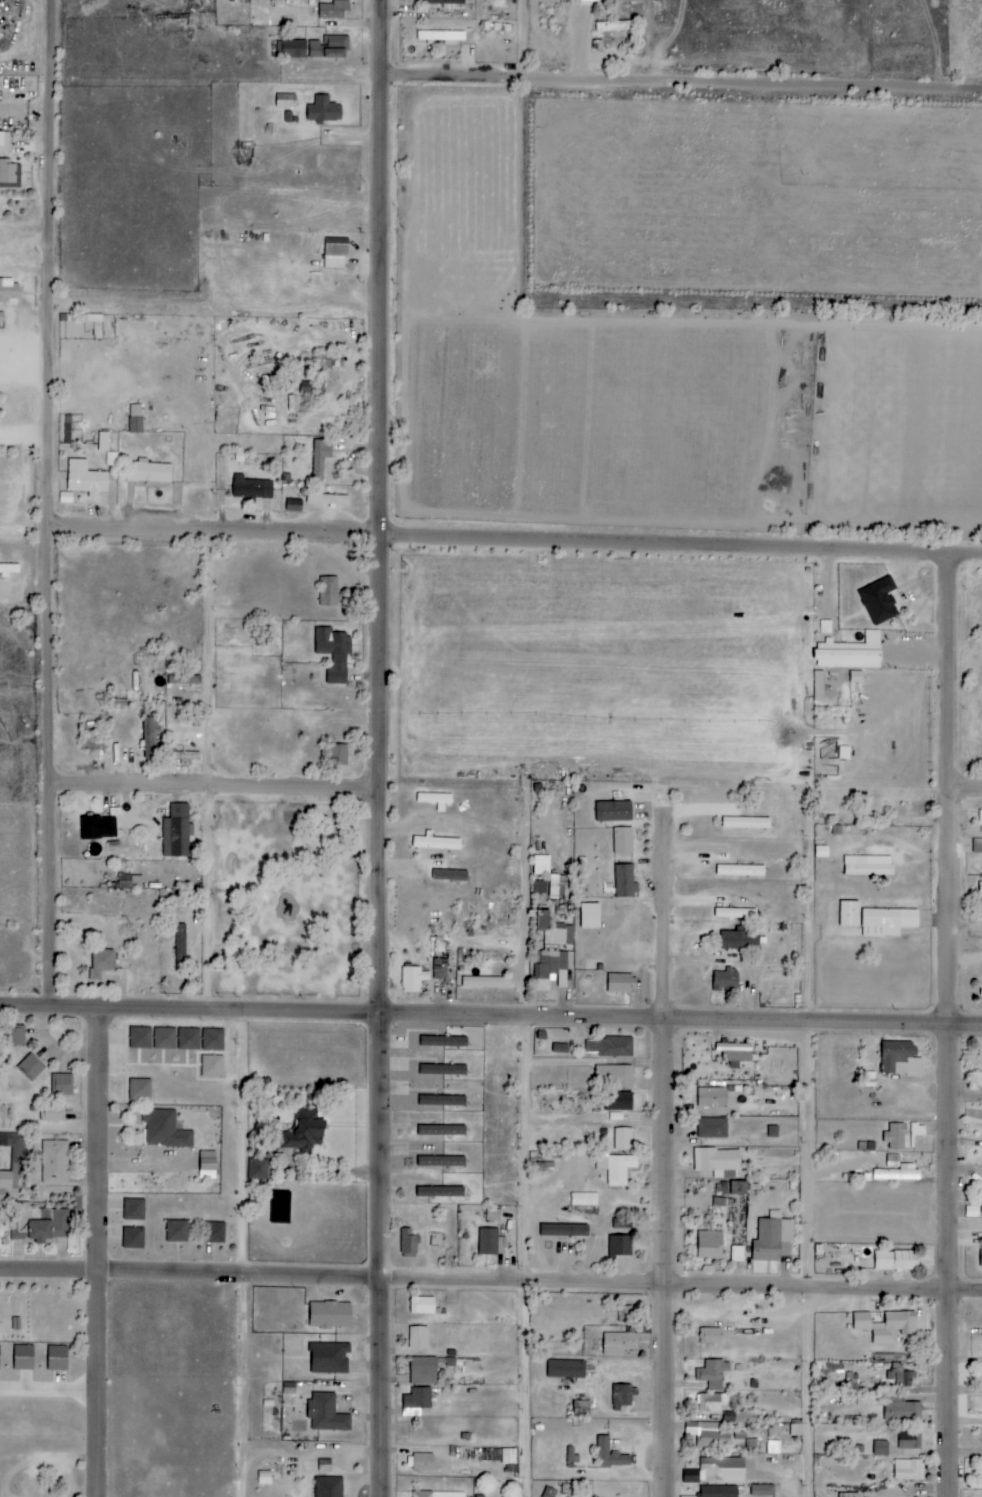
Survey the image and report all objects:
building: (588, 0)
building: (443, 2)
building: (333, 9)
building: (441, 36)
road: (530, 42)
building: (328, 47)
building: (293, 49)
road: (685, 86)
building: (285, 101)
building: (324, 110)
building: (9, 174)
building: (336, 253)
building: (9, 290)
building: (321, 373)
building: (135, 418)
building: (103, 442)
building: (320, 458)
building: (148, 472)
building: (85, 479)
building: (251, 488)
building: (66, 498)
building: (327, 499)
road: (55, 504)
road: (519, 542)
building: (8, 570)
building: (329, 592)
building: (879, 601)
building: (334, 653)
building: (850, 653)
building: (856, 677)
building: (184, 680)
building: (818, 686)
building: (150, 736)
road: (385, 748)
building: (340, 755)
building: (185, 756)
road: (216, 772)
road: (221, 789)
road: (967, 794)
building: (435, 799)
building: (613, 811)
building: (981, 820)
building: (746, 822)
building: (98, 827)
building: (177, 831)
building: (622, 841)
building: (435, 842)
building: (977, 845)
road: (524, 858)
building: (541, 865)
building: (868, 865)
building: (740, 870)
building: (450, 874)
building: (130, 882)
building: (623, 882)
building: (539, 887)
building: (980, 889)
building: (735, 913)
building: (590, 915)
building: (874, 920)
building: (740, 940)
building: (180, 947)
building: (552, 951)
building: (102, 962)
building: (440, 969)
building: (413, 978)
building: (726, 980)
building: (486, 982)
building: (619, 984)
road: (490, 1018)
road: (954, 1027)
building: (15, 1036)
building: (140, 1038)
building: (164, 1038)
building: (188, 1039)
building: (212, 1039)
building: (443, 1041)
building: (610, 1047)
building: (560, 1048)
building: (735, 1052)
building: (900, 1059)
building: (212, 1066)
building: (30, 1068)
building: (443, 1069)
building: (614, 1076)
building: (61, 1084)
building: (140, 1090)
building: (712, 1097)
building: (442, 1100)
building: (619, 1101)
building: (2, 1110)
building: (51, 1112)
building: (712, 1128)
building: (165, 1129)
building: (918, 1129)
building: (441, 1130)
building: (303, 1131)
building: (773, 1131)
building: (896, 1136)
building: (623, 1139)
road: (670, 1152)
building: (440, 1161)
building: (54, 1162)
building: (718, 1162)
building: (13, 1163)
building: (207, 1164)
building: (616, 1167)
building: (258, 1169)
building: (897, 1169)
building: (440, 1191)
building: (584, 1199)
building: (280, 1207)
building: (134, 1209)
building: (38, 1223)
building: (564, 1230)
building: (176, 1231)
building: (214, 1232)
building: (133, 1238)
building: (436, 1239)
building: (409, 1241)
building: (491, 1242)
building: (620, 1245)
building: (710, 1245)
road: (98, 1253)
building: (737, 1254)
road: (251, 1255)
road: (524, 1258)
building: (981, 1259)
building: (895, 1260)
road: (817, 1261)
road: (490, 1284)
building: (422, 1305)
building: (330, 1315)
building: (862, 1321)
building: (894, 1327)
building: (623, 1334)
building: (710, 1336)
building: (417, 1337)
building: (23, 1358)
building: (57, 1358)
building: (329, 1358)
building: (565, 1369)
building: (422, 1370)
building: (713, 1373)
building: (288, 1388)
building: (622, 1397)
building: (417, 1399)
building: (711, 1402)
building: (580, 1409)
building: (327, 1414)
building: (738, 1417)
building: (796, 1430)
building: (712, 1436)
building: (910, 1441)
building: (773, 1447)
building: (881, 1448)
building: (610, 1455)
building: (572, 1456)
building: (509, 1460)
building: (422, 1462)
building: (325, 1466)
building: (721, 1468)
building: (908, 1470)
building: (329, 1487)
building: (762, 1490)
building: (718, 1491)
building: (437, 1494)
building: (849, 1495)

